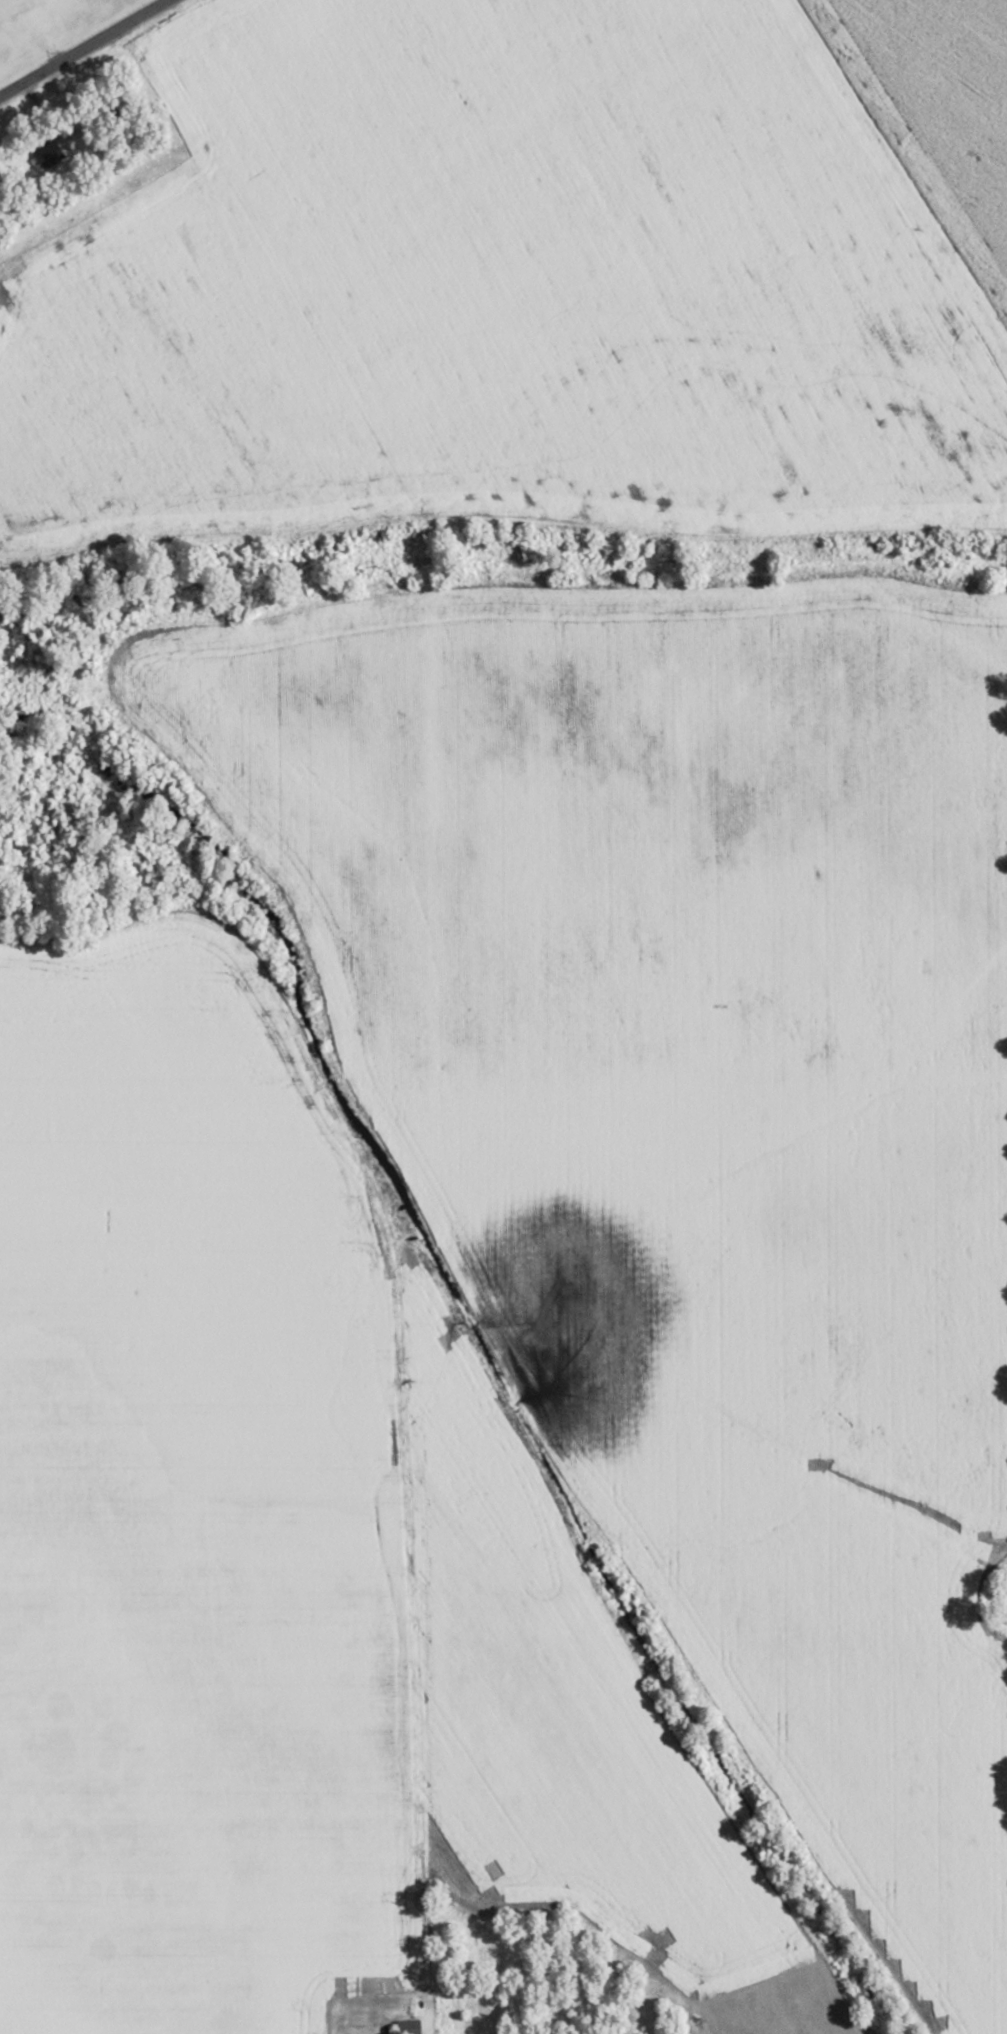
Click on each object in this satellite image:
road: (27, 34)
road: (83, 48)
building: (48, 153)
building: (409, 2026)

